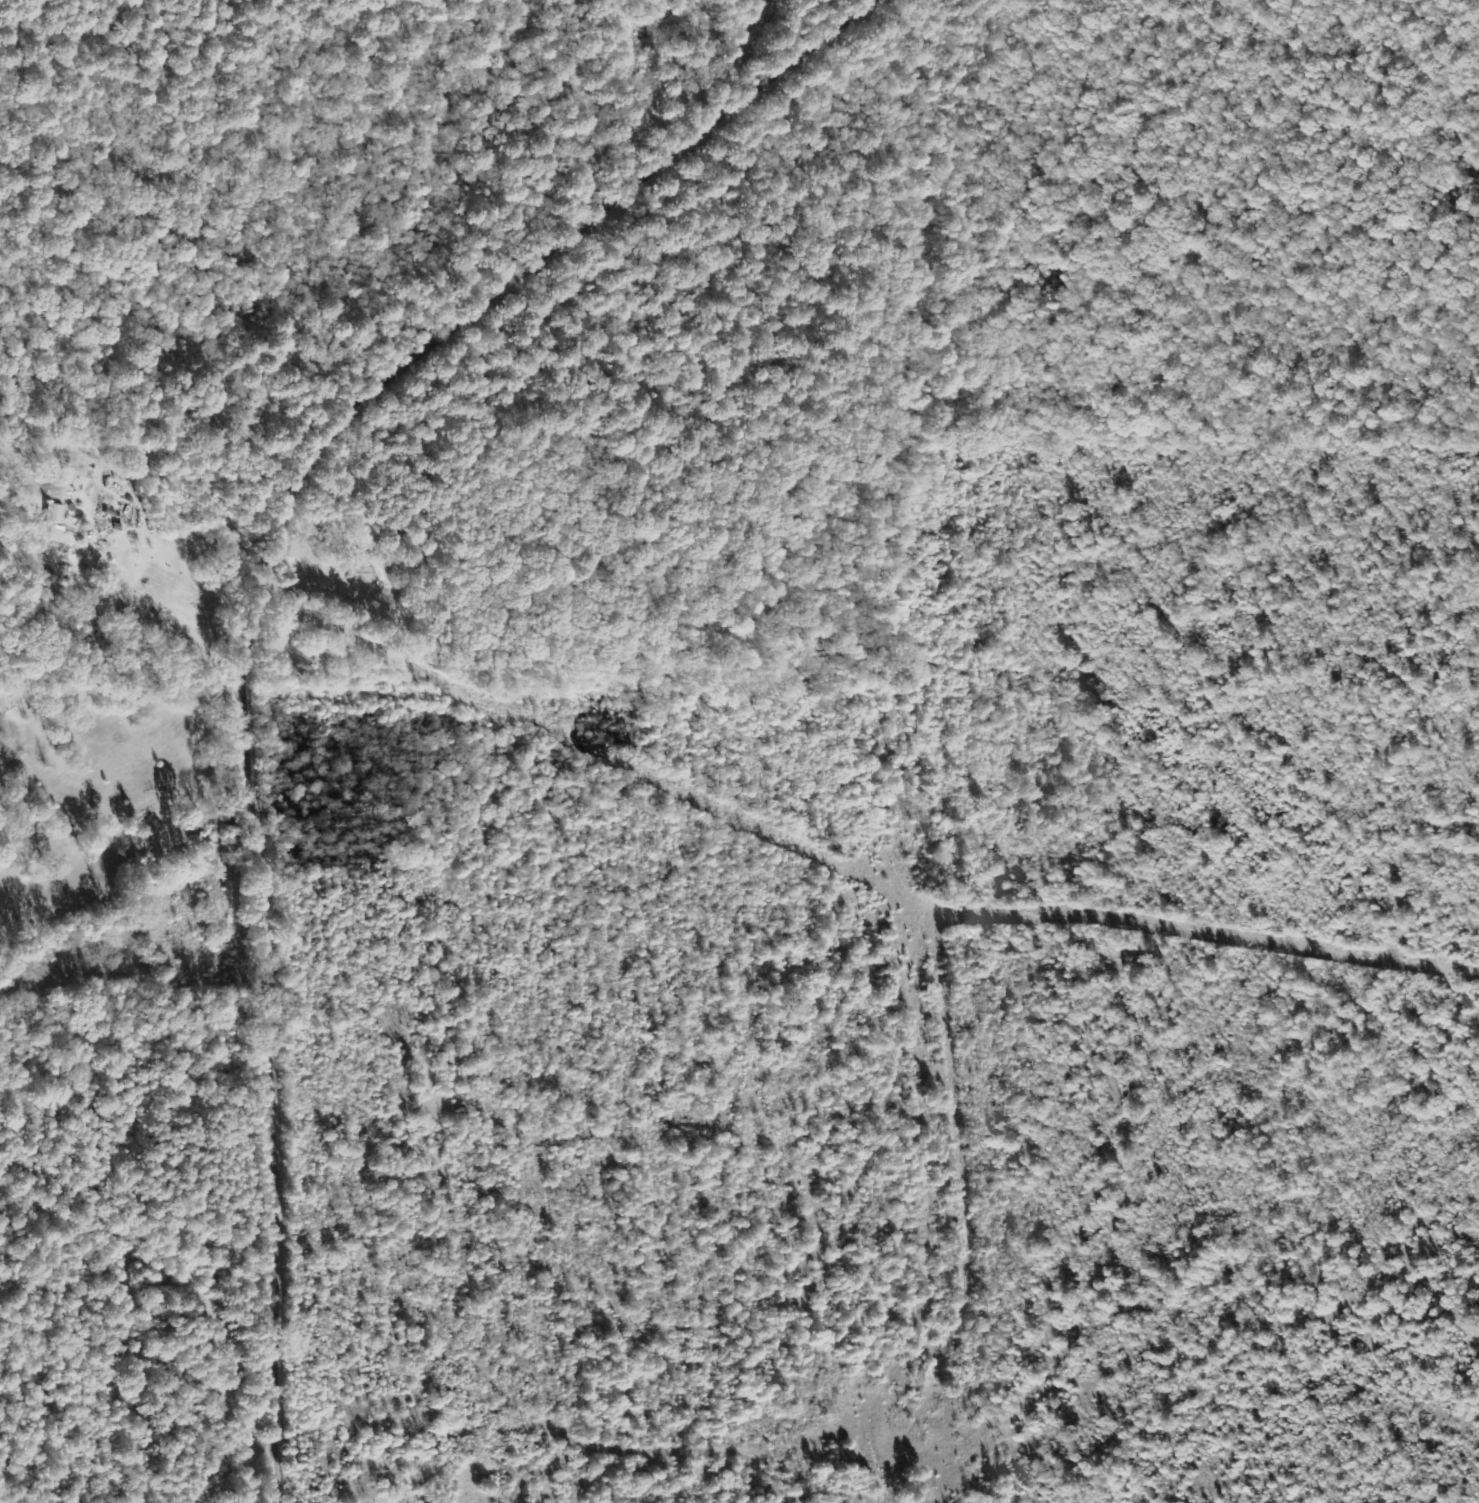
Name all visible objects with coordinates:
building: (52, 522)
building: (389, 569)
road: (259, 611)
road: (125, 677)

